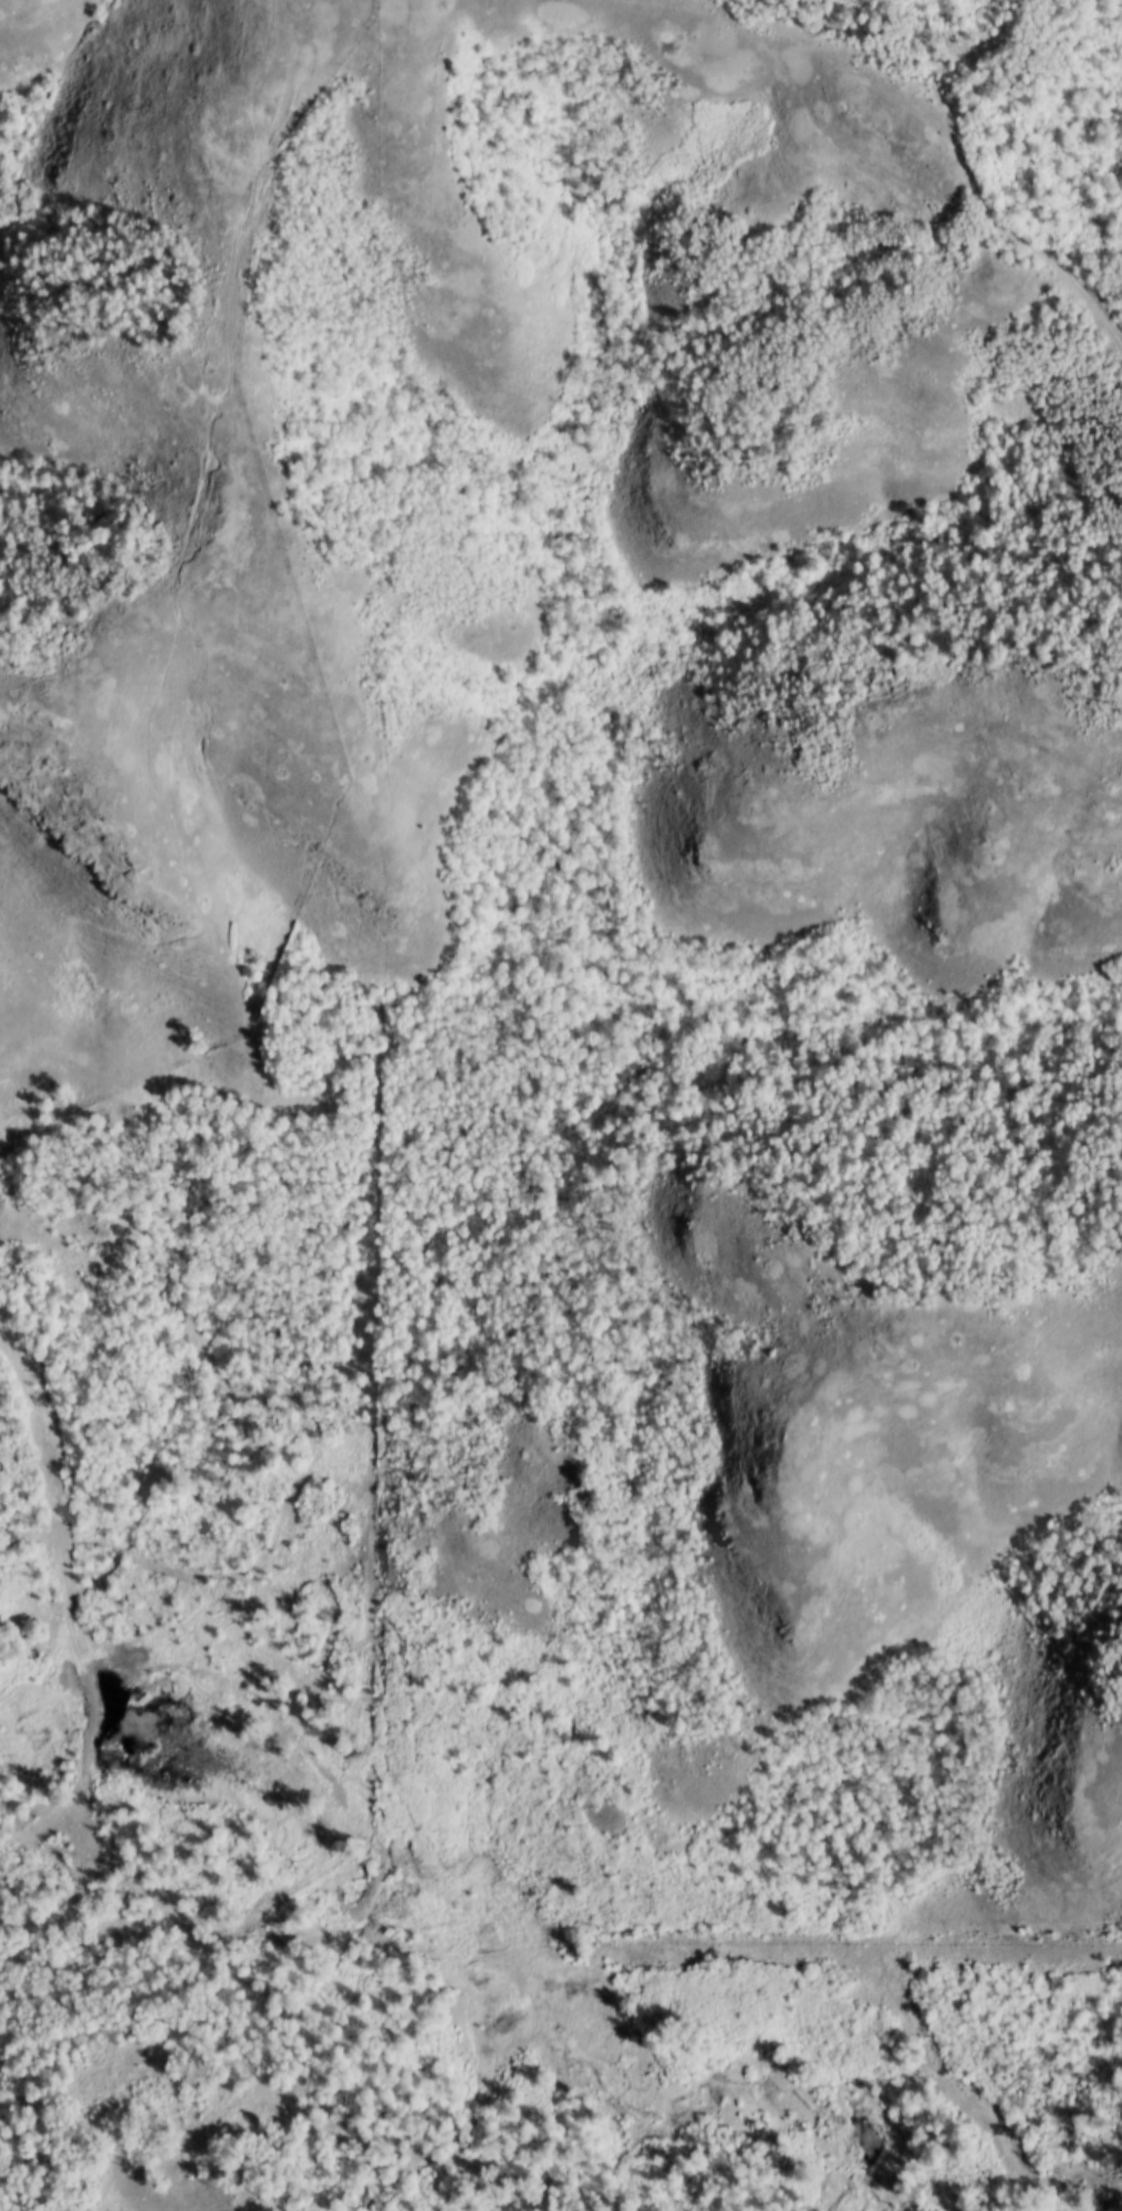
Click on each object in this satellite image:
road: (879, 1955)

